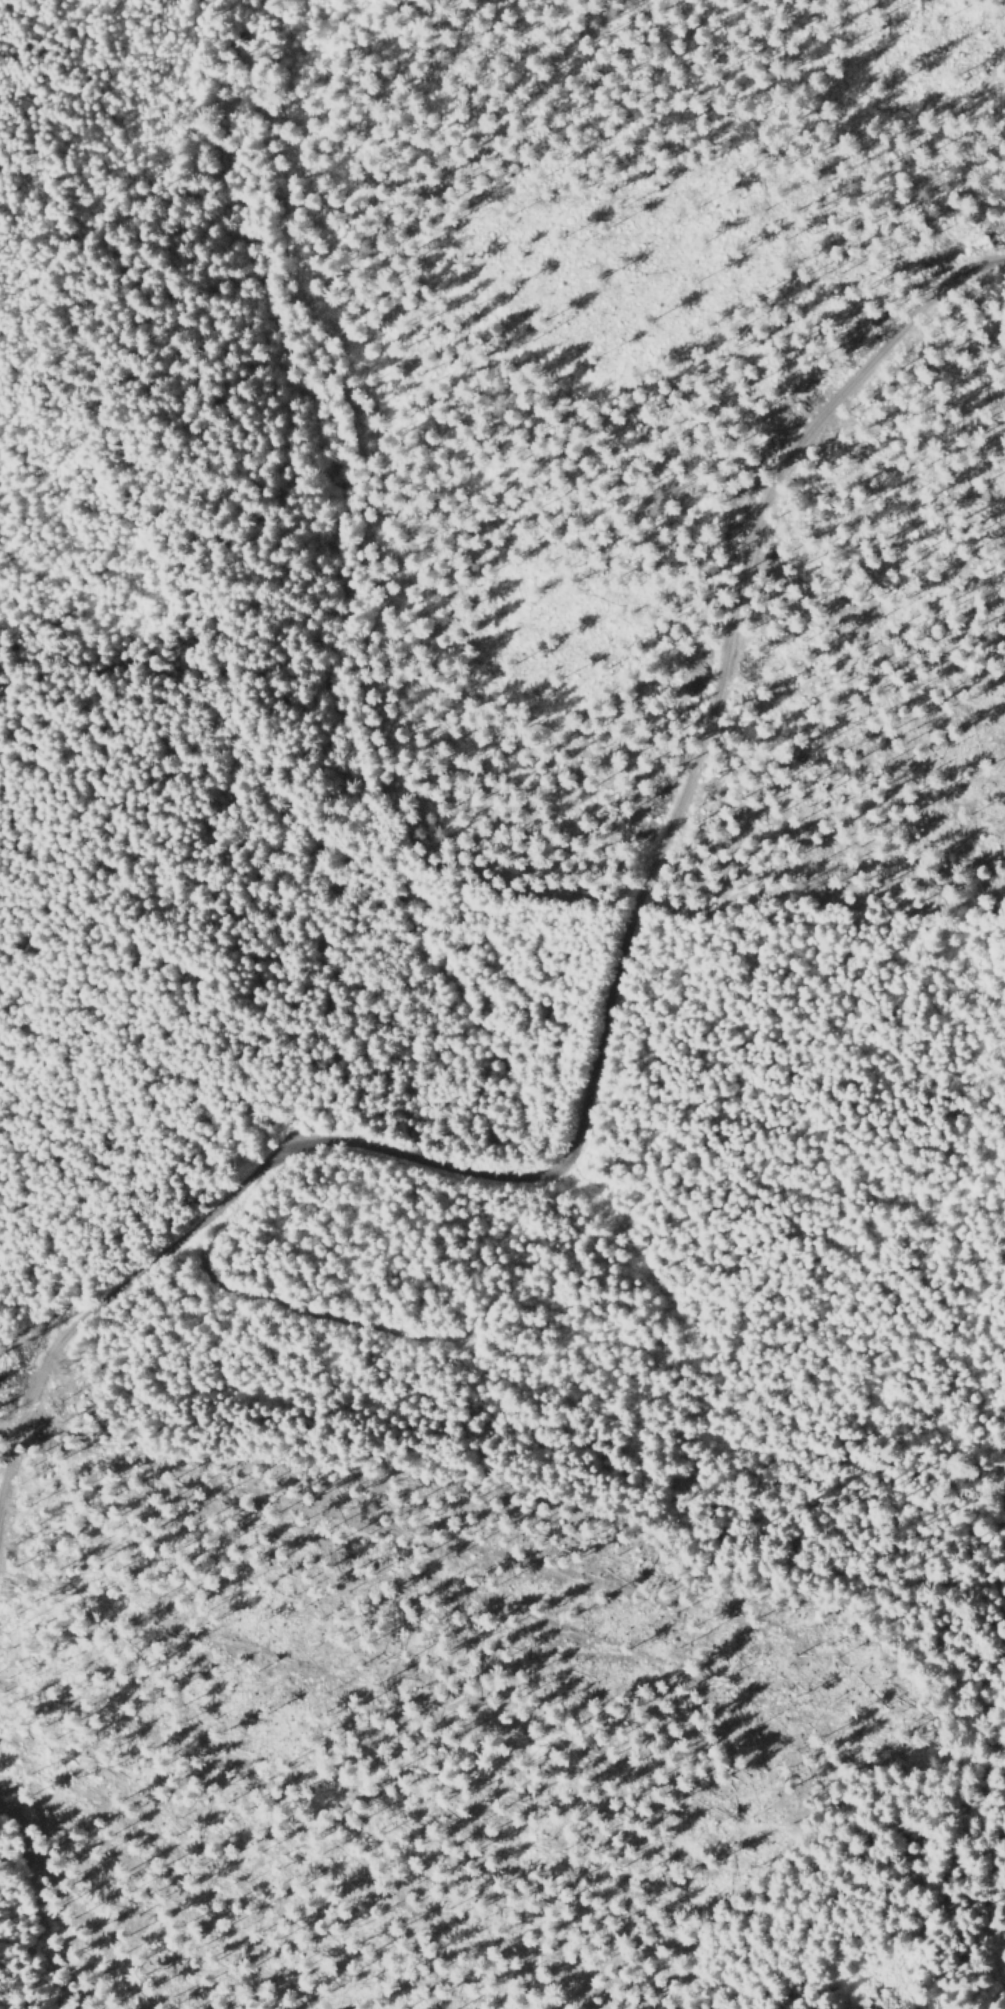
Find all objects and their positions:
road: (598, 1031)
road: (284, 1305)
road: (480, 1730)
road: (28, 1962)

